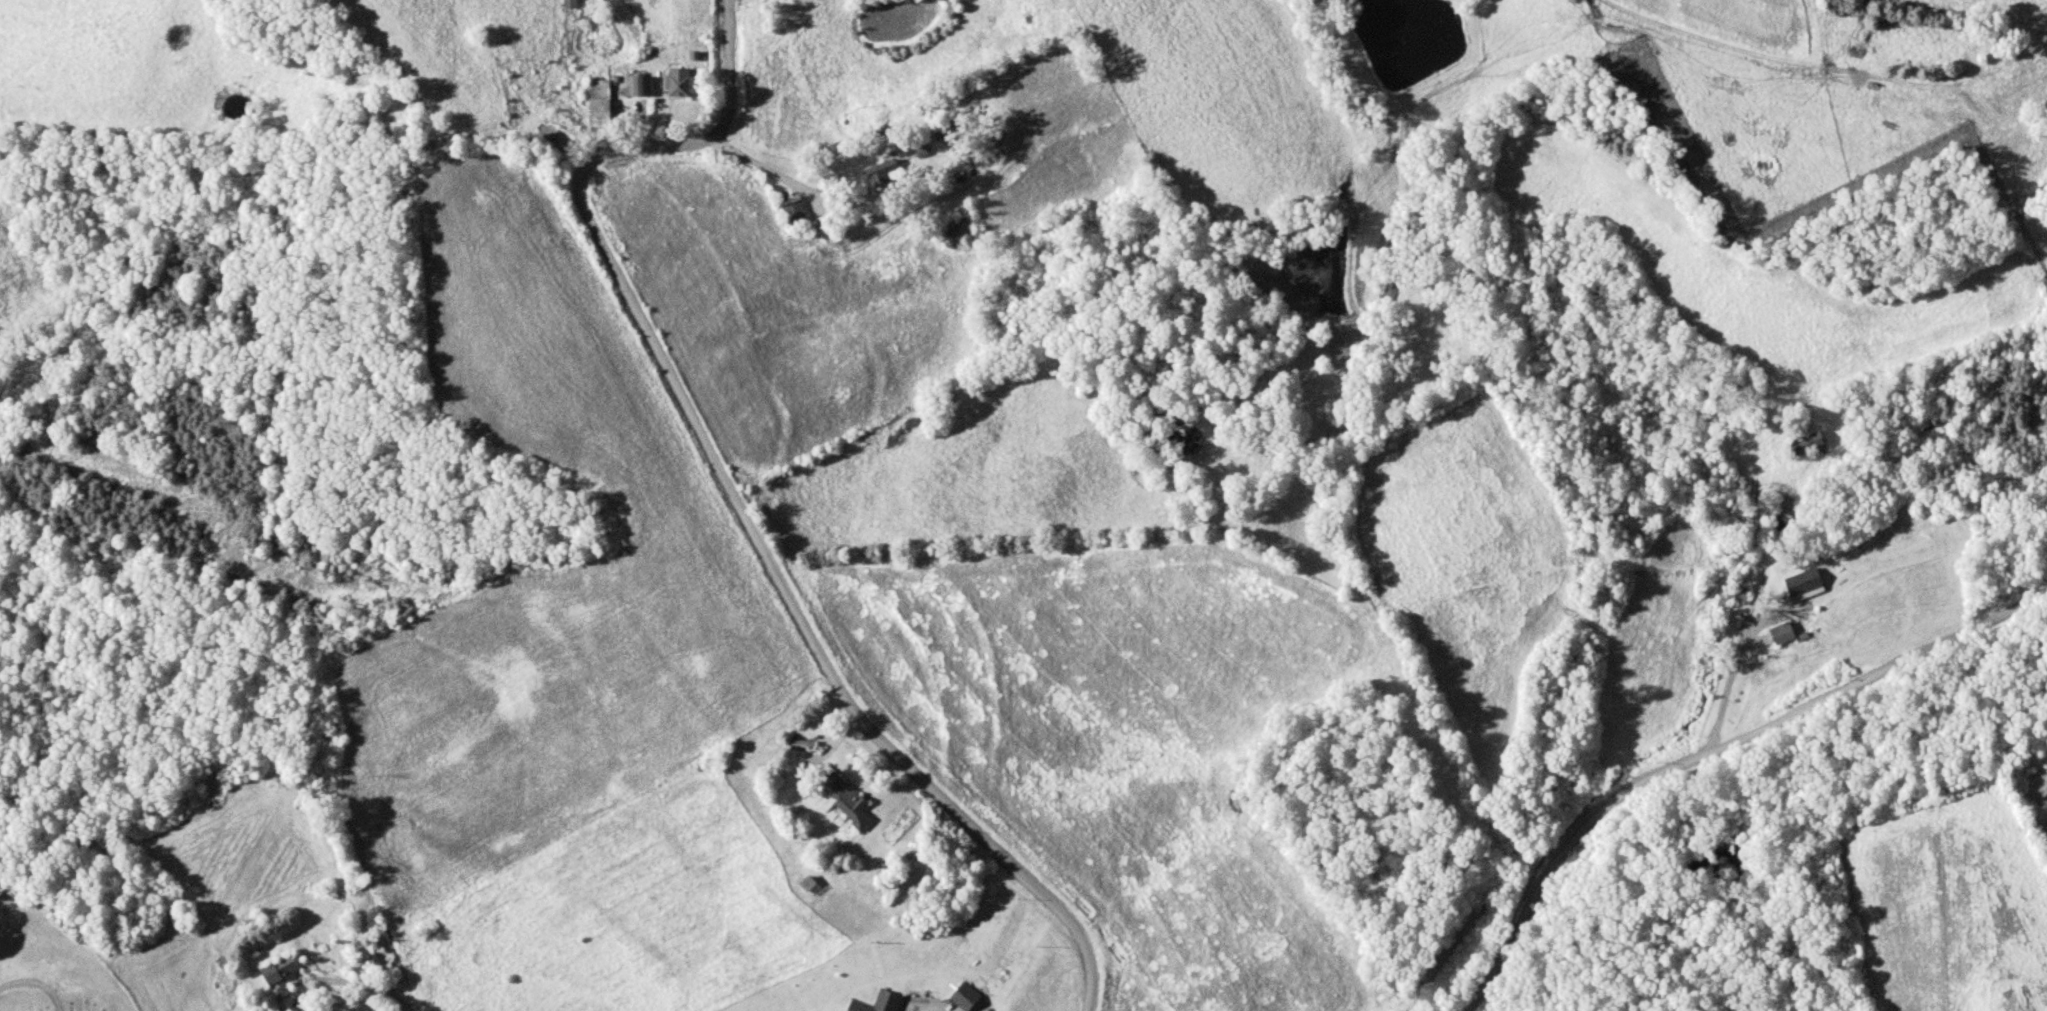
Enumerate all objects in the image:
road: (1738, 51)
road: (766, 167)
road: (743, 479)
road: (1731, 691)
road: (1707, 761)
park: (57, 970)
road: (36, 985)
road: (408, 1007)

